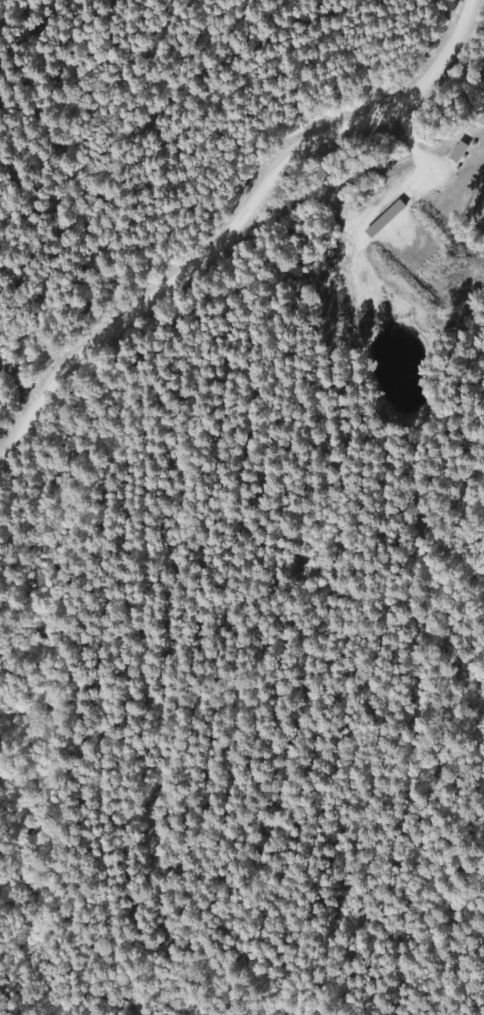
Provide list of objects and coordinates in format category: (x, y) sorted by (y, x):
road: (237, 224)

